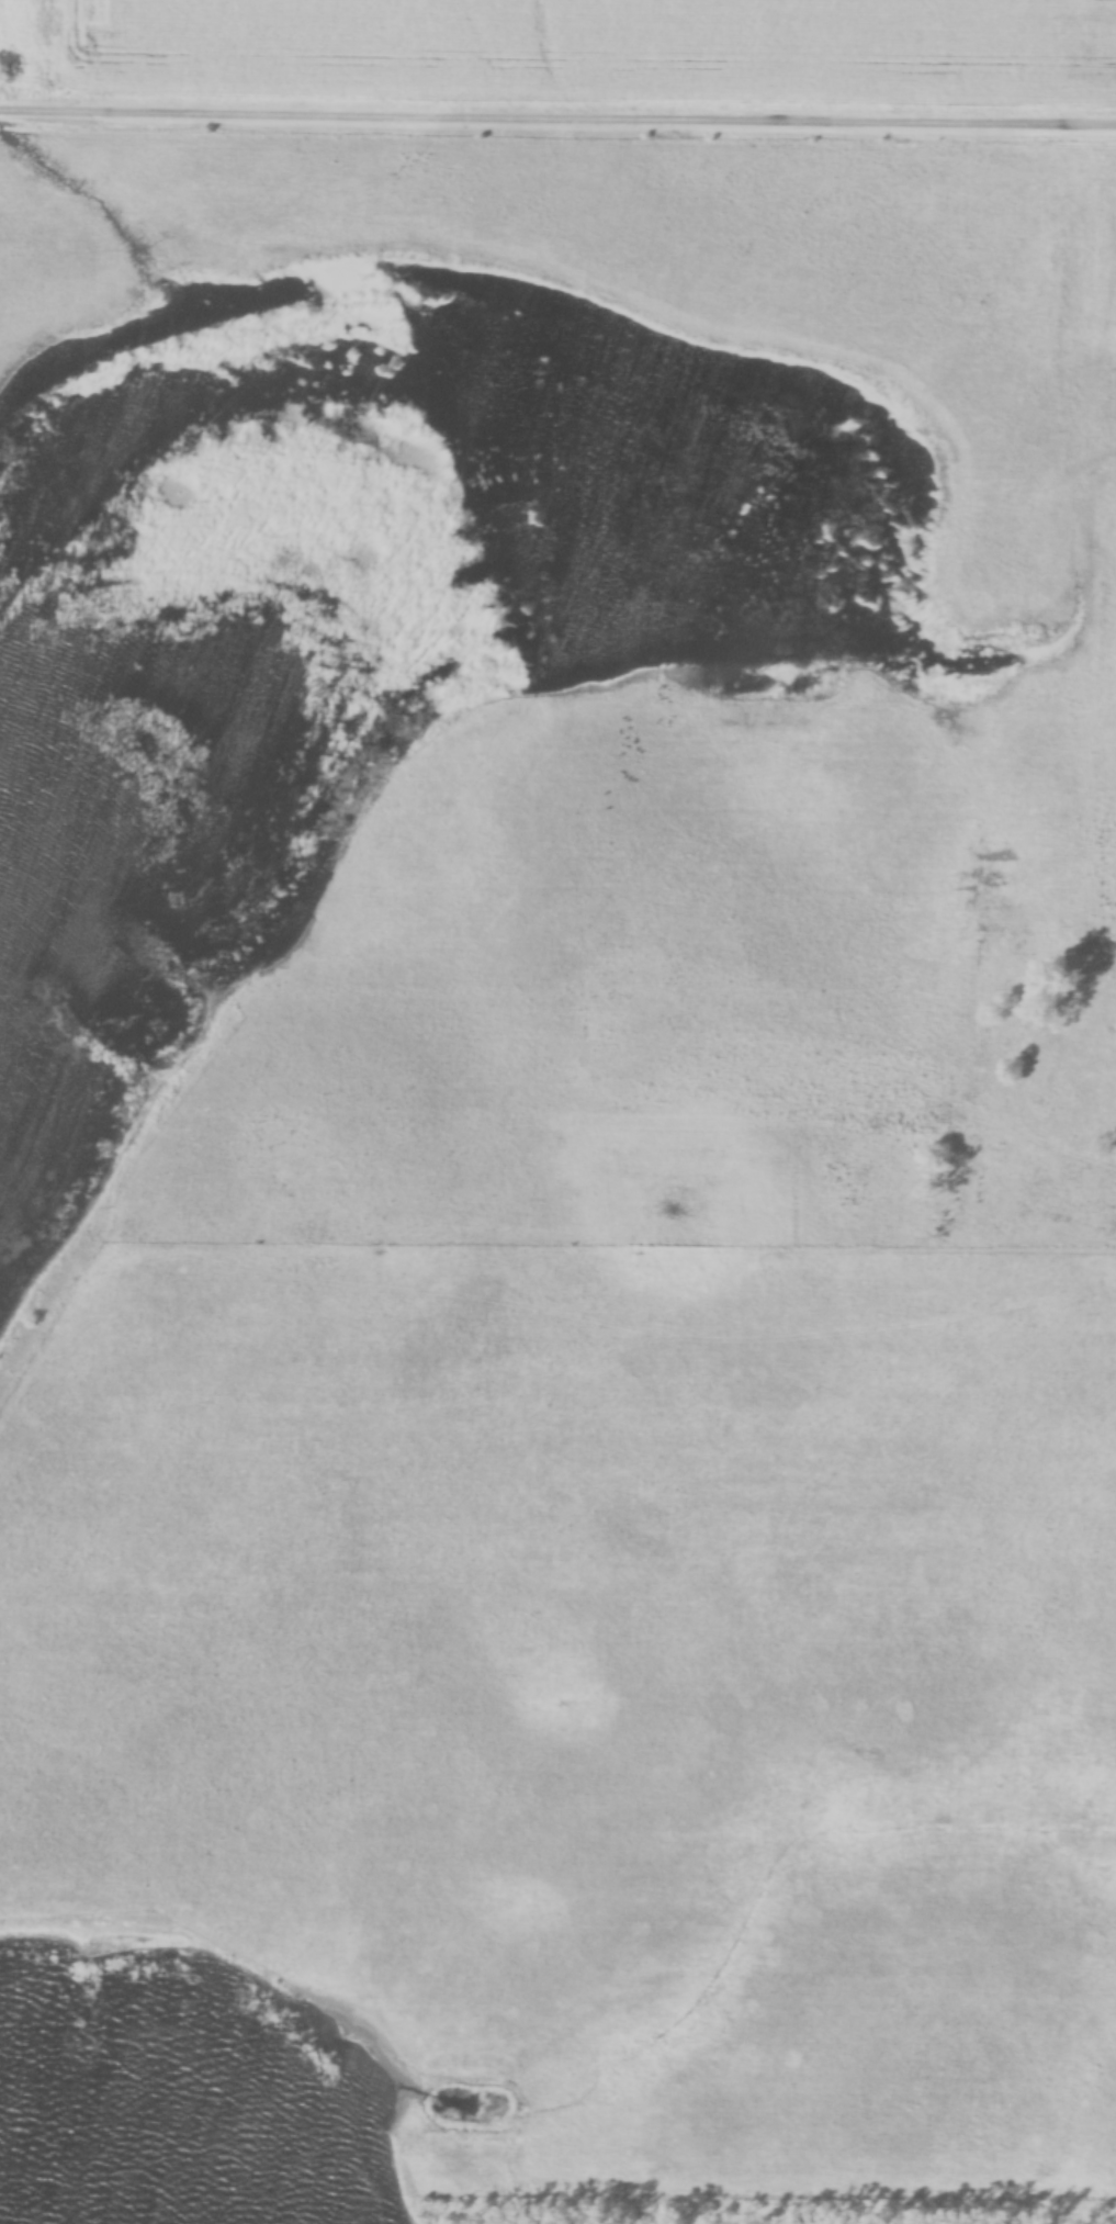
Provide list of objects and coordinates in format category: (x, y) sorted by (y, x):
road: (557, 116)

